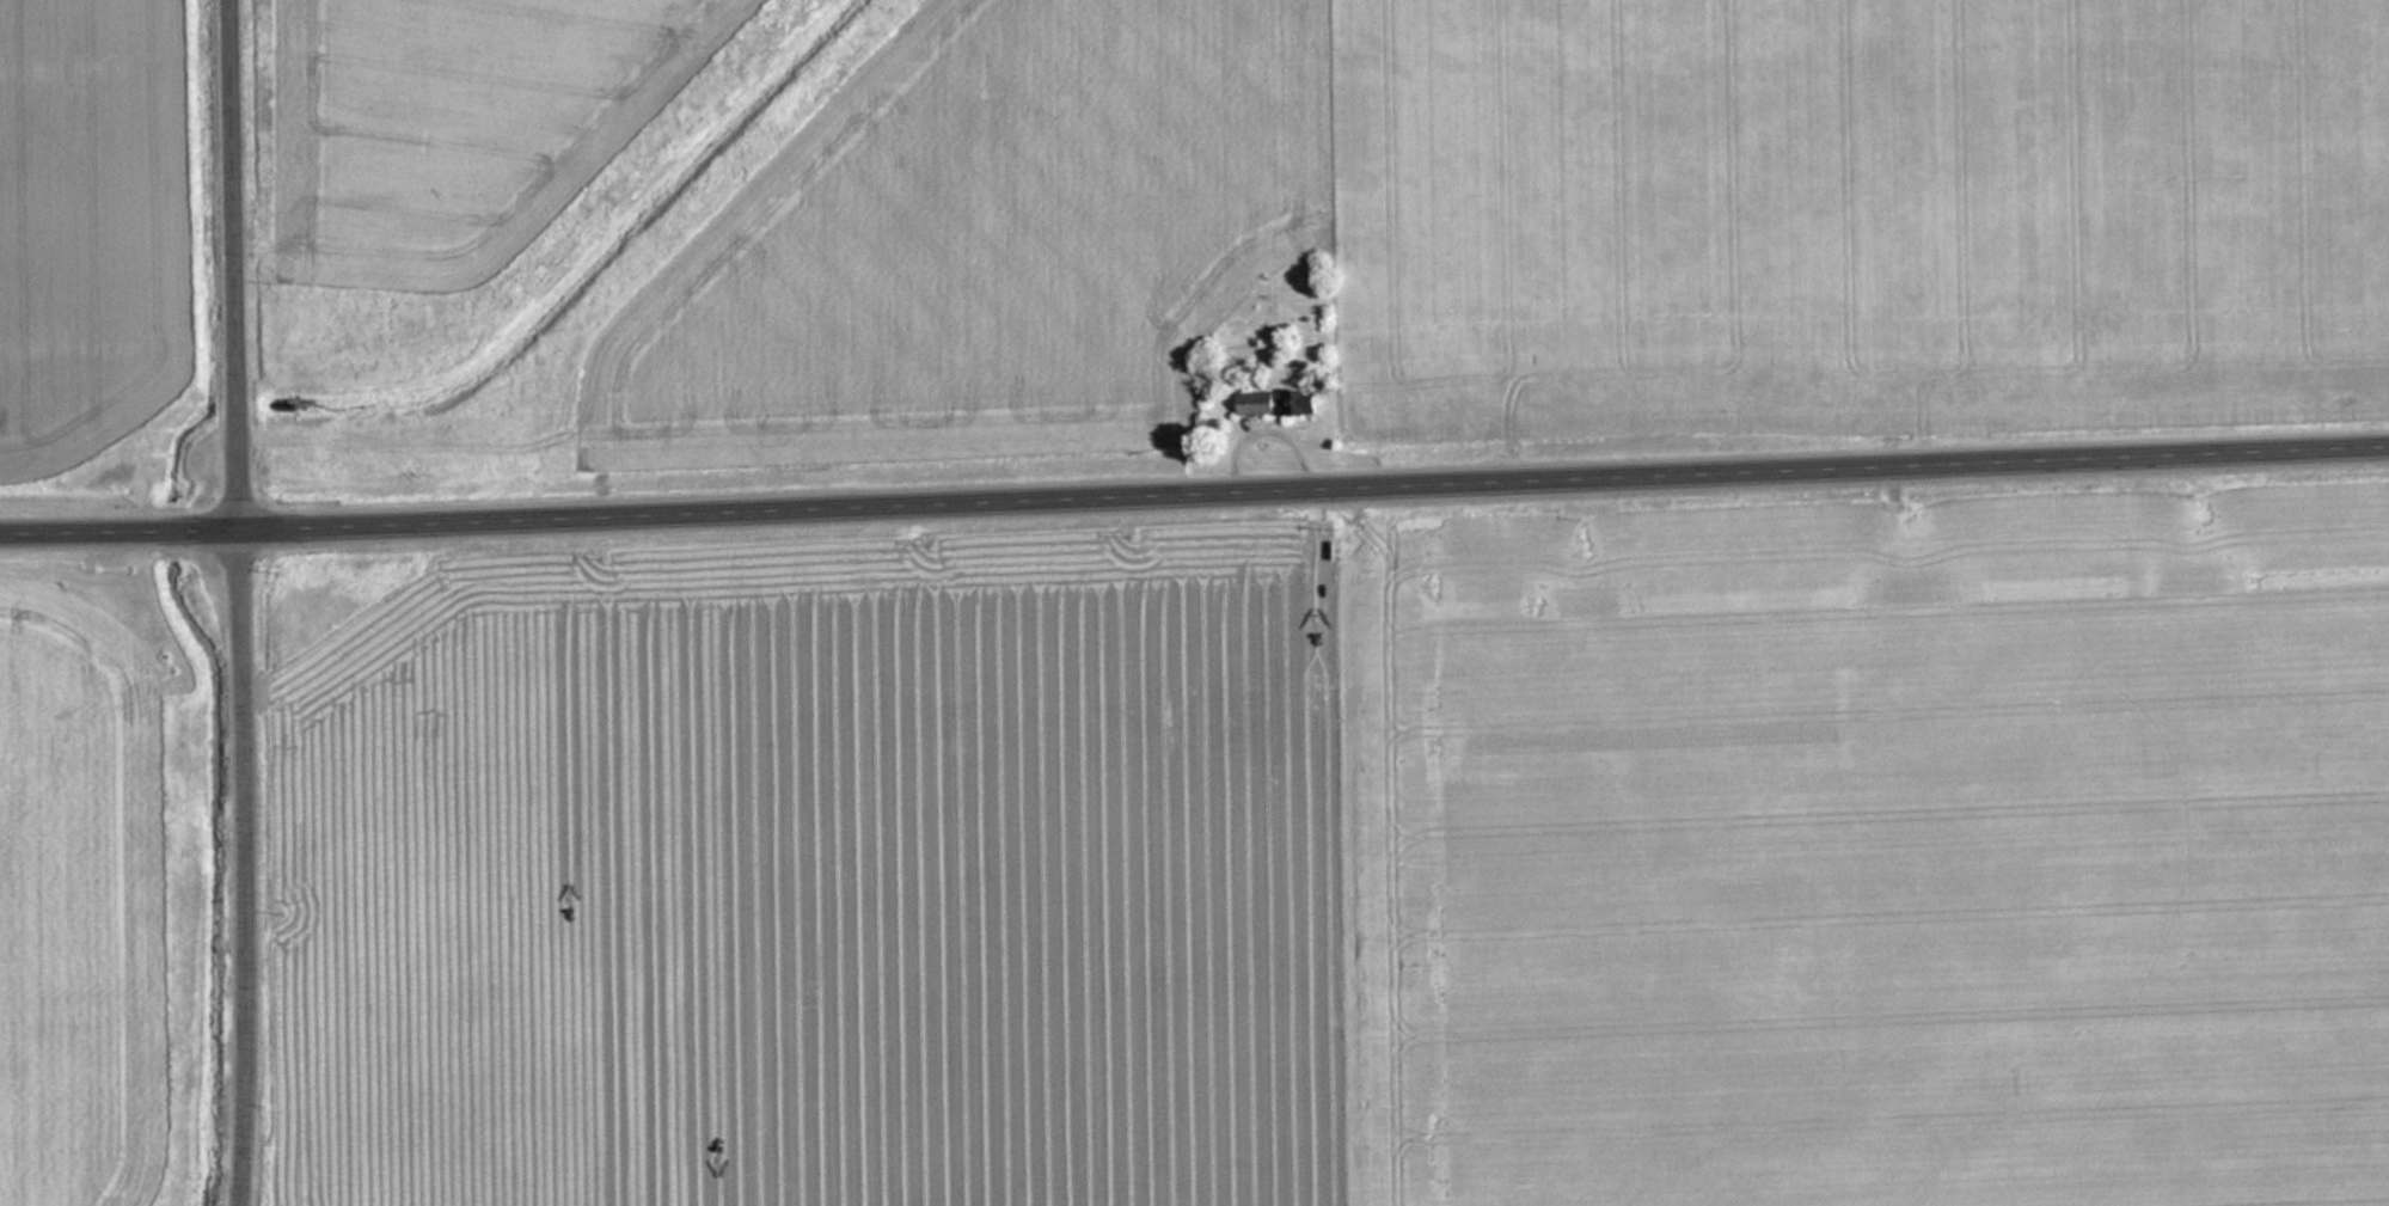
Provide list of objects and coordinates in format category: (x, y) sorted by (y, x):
building: (1282, 403)
road: (1194, 489)
road: (249, 602)
road: (1899, 696)

